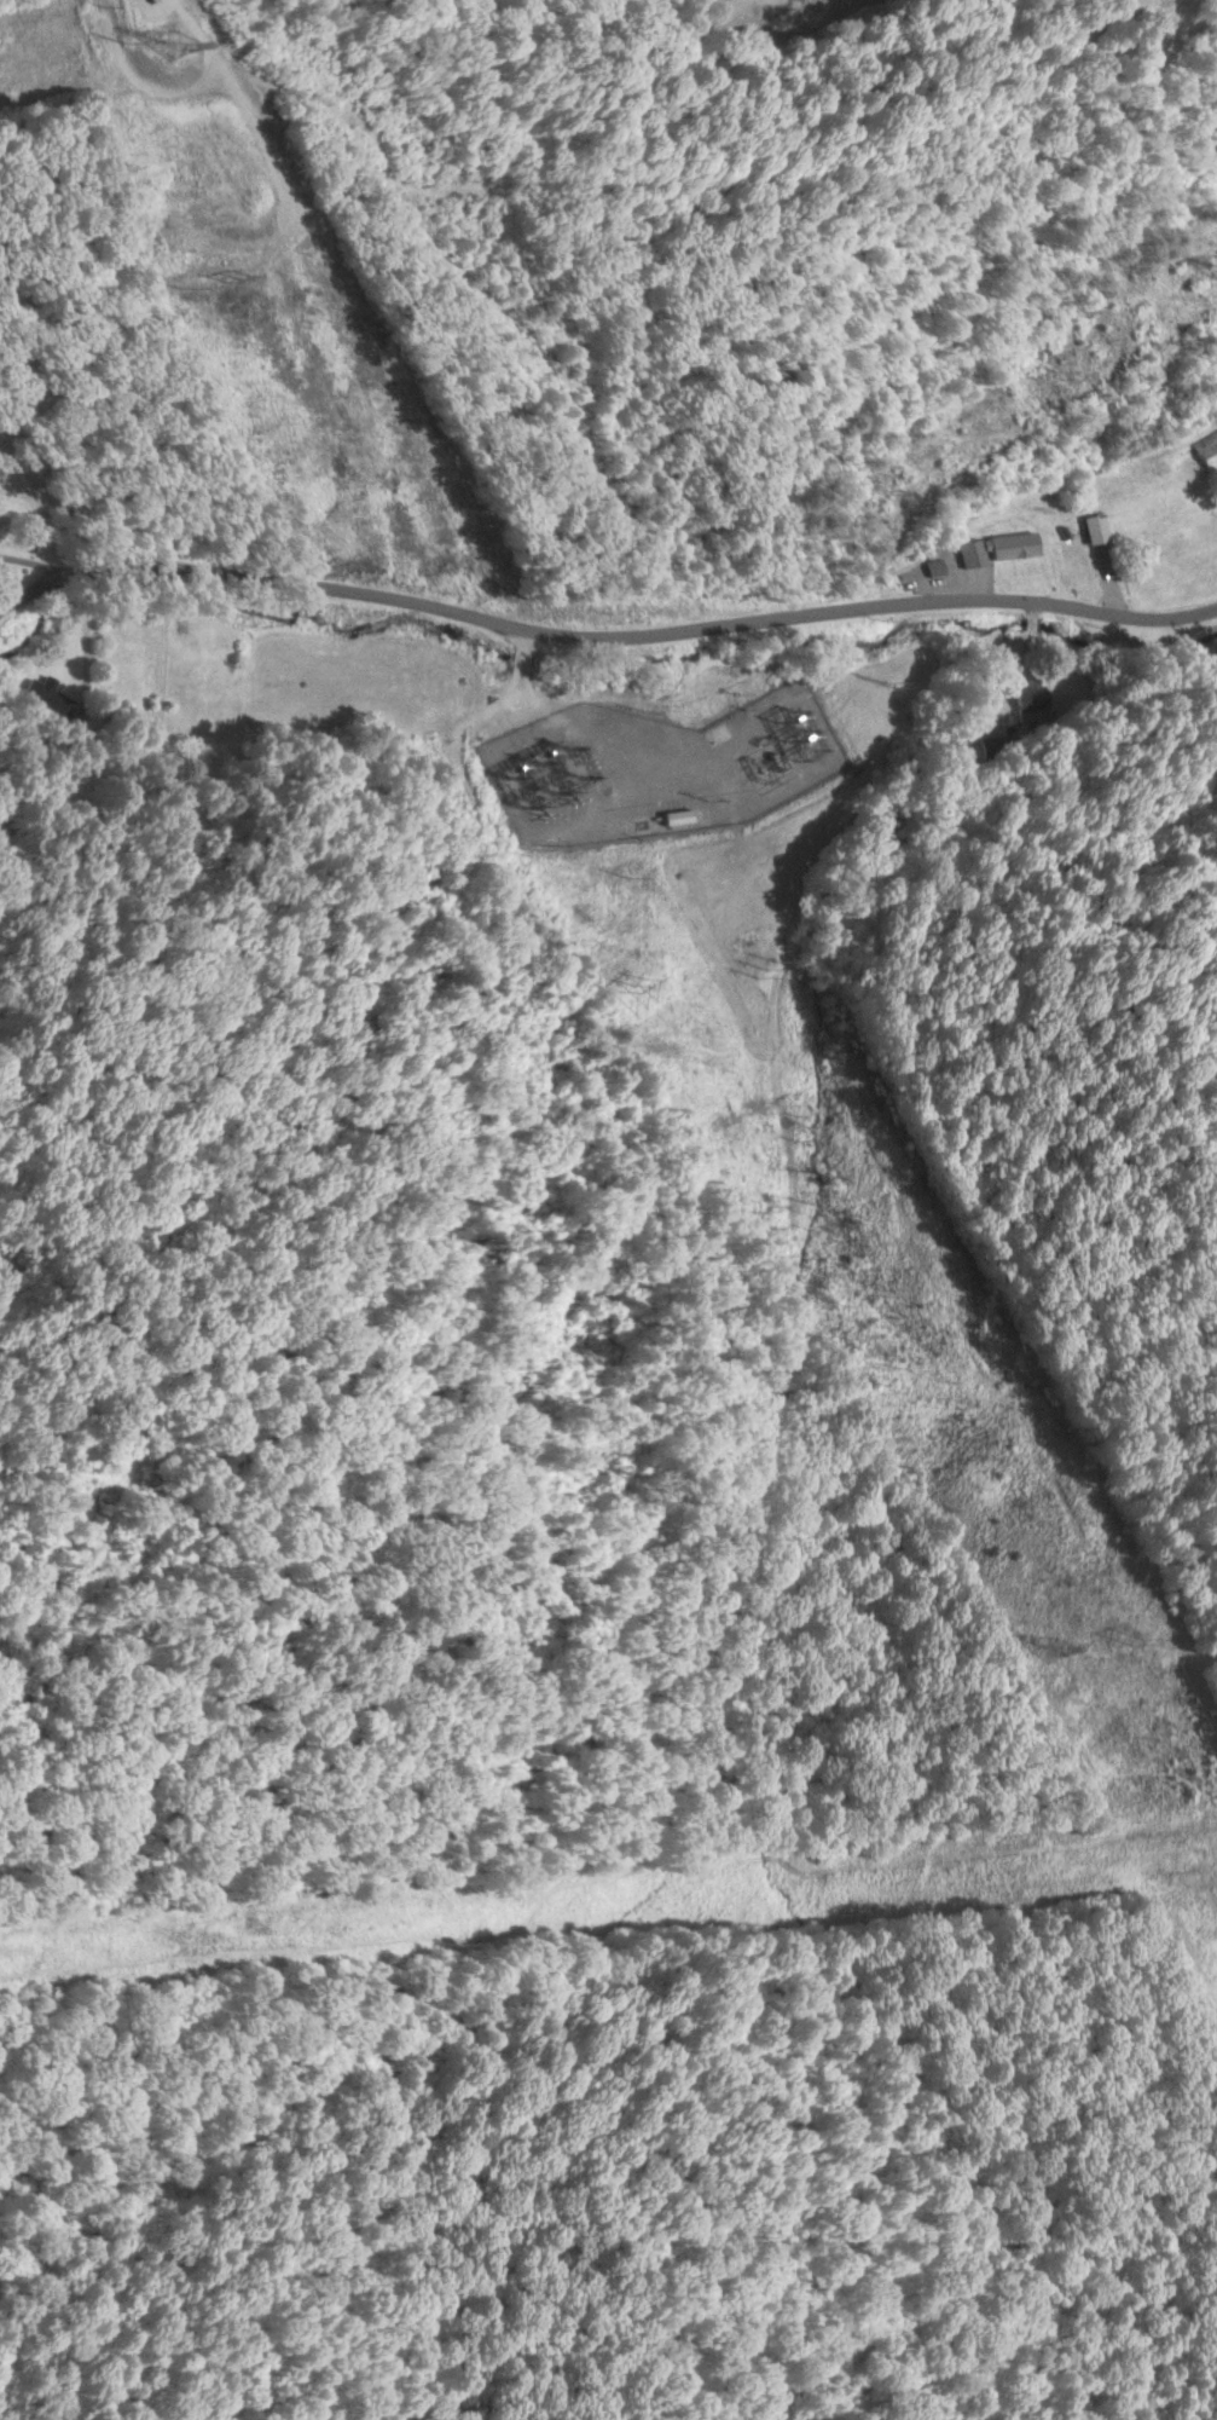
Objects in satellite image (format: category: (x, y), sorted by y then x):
power tower: (178, 28)
power tower: (152, 34)
power tower: (1216, 267)
power tower: (285, 268)
power tower: (261, 276)
building: (1210, 447)
power tower: (886, 497)
building: (1004, 549)
building: (944, 568)
road: (603, 640)
power tower: (883, 683)
power substation: (663, 769)
road: (54, 801)
power tower: (770, 972)
power tower: (626, 986)
power tower: (1135, 1646)
power tower: (1047, 1657)

